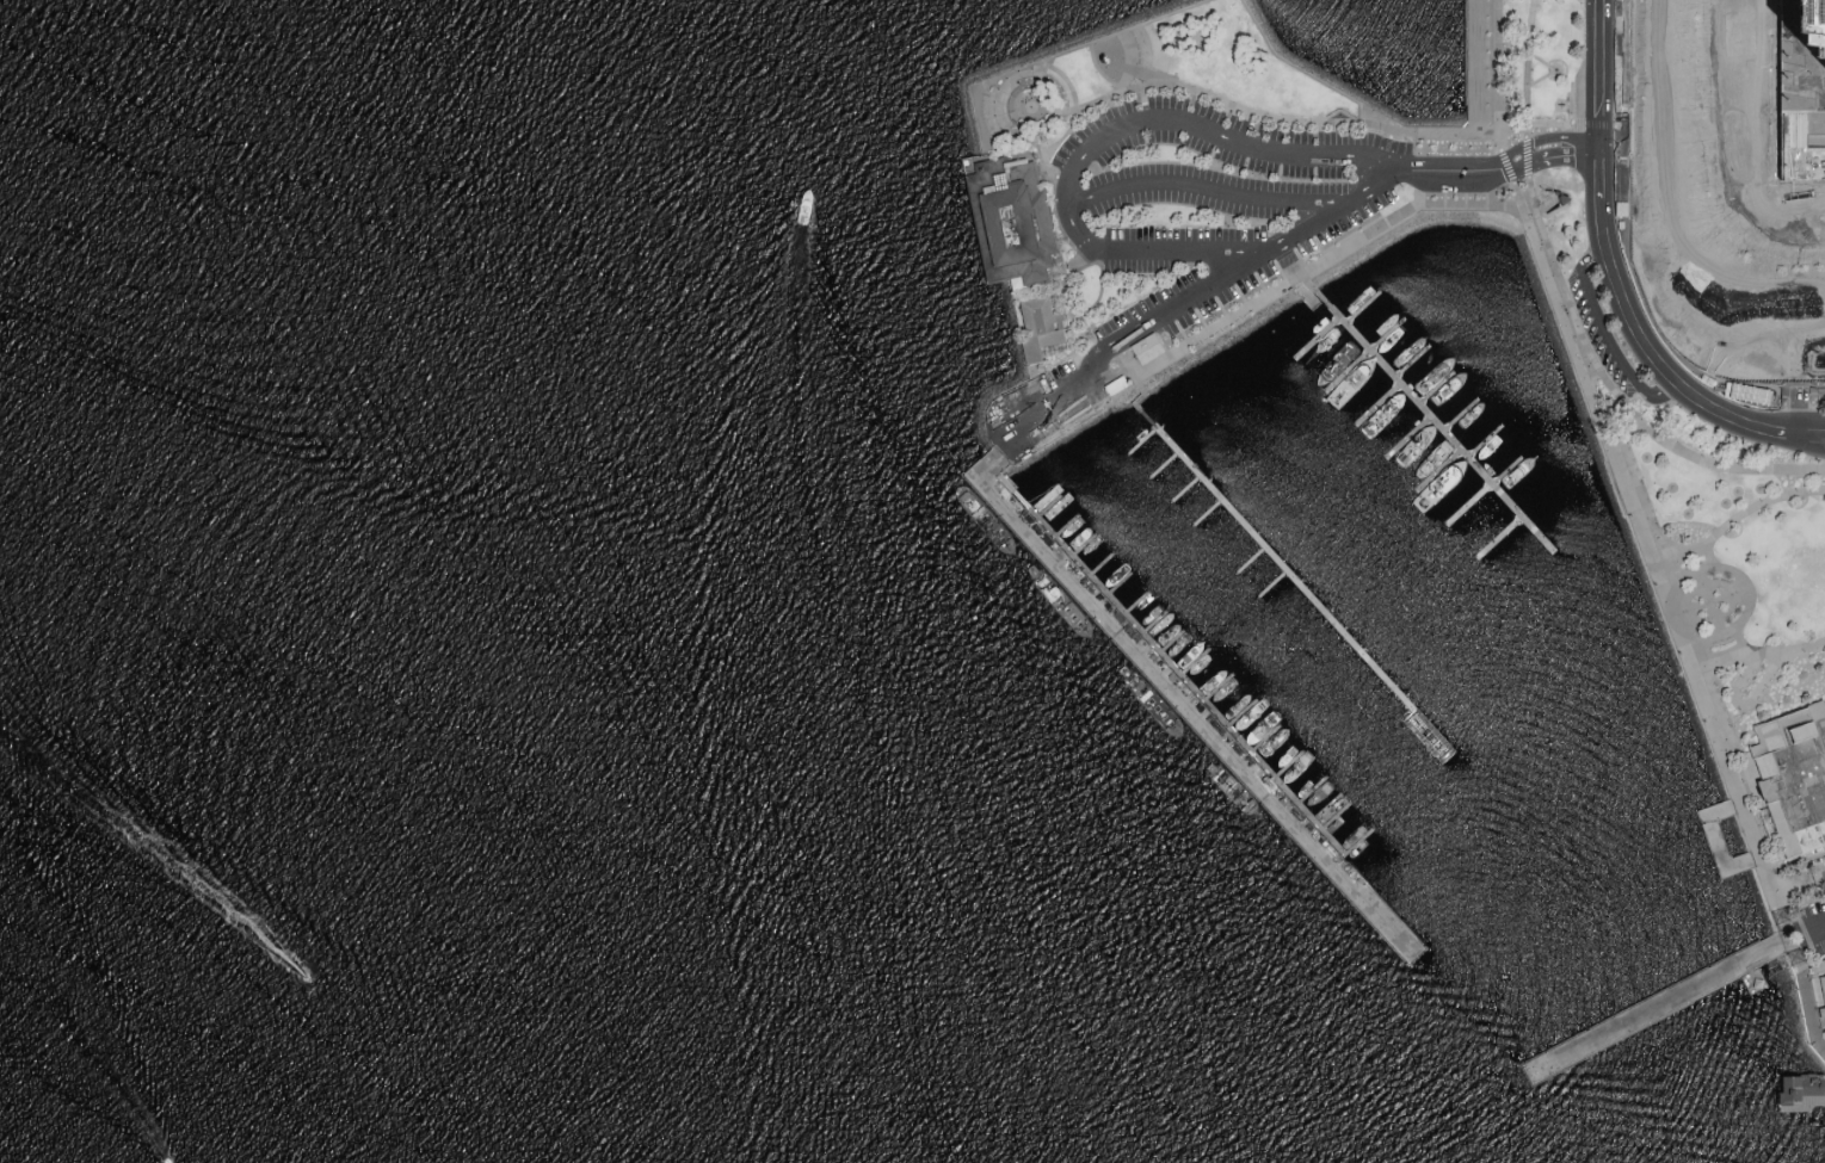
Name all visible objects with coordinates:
building: (1819, 24)
road: (1049, 61)
park: (1283, 81)
road: (1608, 81)
road: (1498, 111)
road: (1090, 112)
road: (1124, 126)
road: (1506, 126)
road: (1817, 143)
road: (1518, 151)
road: (1518, 169)
road: (1053, 172)
road: (1608, 181)
road: (1196, 188)
building: (1012, 227)
parking lot: (1189, 230)
road: (1592, 252)
road: (1200, 292)
road: (1086, 313)
road: (1574, 314)
building: (1038, 327)
road: (1605, 334)
building: (1149, 351)
road: (1658, 352)
pier: (1435, 422)
road: (1633, 423)
road: (1812, 425)
road: (1799, 437)
road: (1786, 446)
road: (1676, 550)
park: (1722, 557)
road: (1730, 570)
pier: (1284, 573)
road: (1688, 573)
road: (1661, 594)
road: (1707, 601)
road: (1707, 602)
road: (1691, 623)
road: (1708, 638)
road: (1740, 685)
pier: (1185, 701)
road: (1185, 704)
building: (1795, 778)
pier: (1721, 839)
parking lot: (1814, 926)
road: (1819, 929)
building: (1823, 983)
road: (1667, 1002)
pier: (1652, 1012)
road: (1809, 1014)
building: (1823, 1017)
road: (1820, 1043)
pier: (1802, 1093)
building: (1800, 1095)

